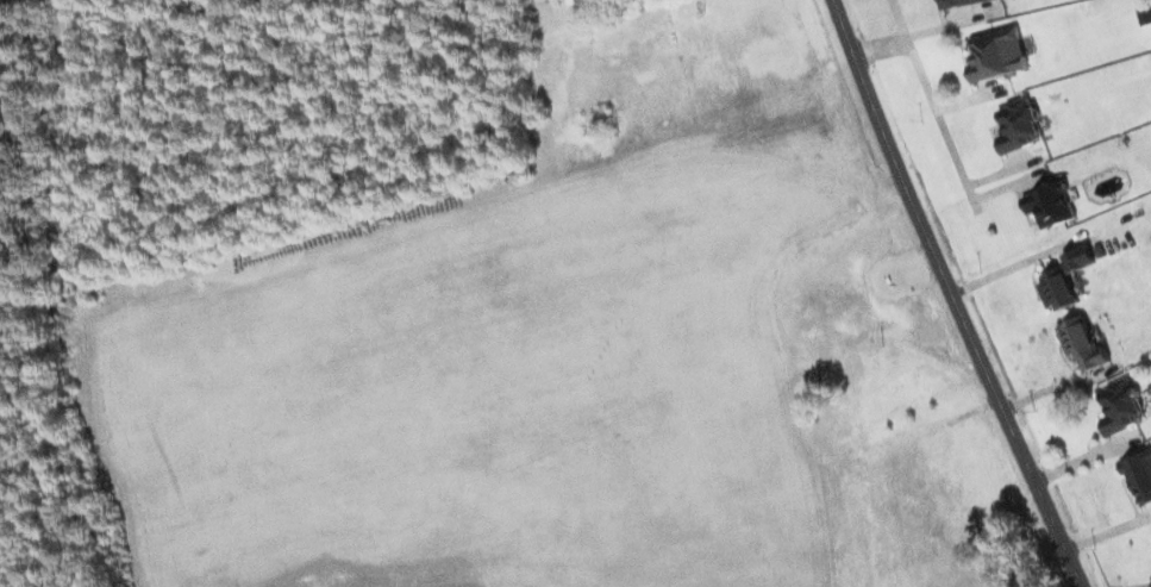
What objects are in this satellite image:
building: (959, 2)
building: (1144, 12)
building: (997, 55)
building: (1020, 125)
building: (1050, 205)
building: (1064, 279)
road: (950, 295)
building: (1082, 343)
building: (1120, 407)
building: (1139, 476)

